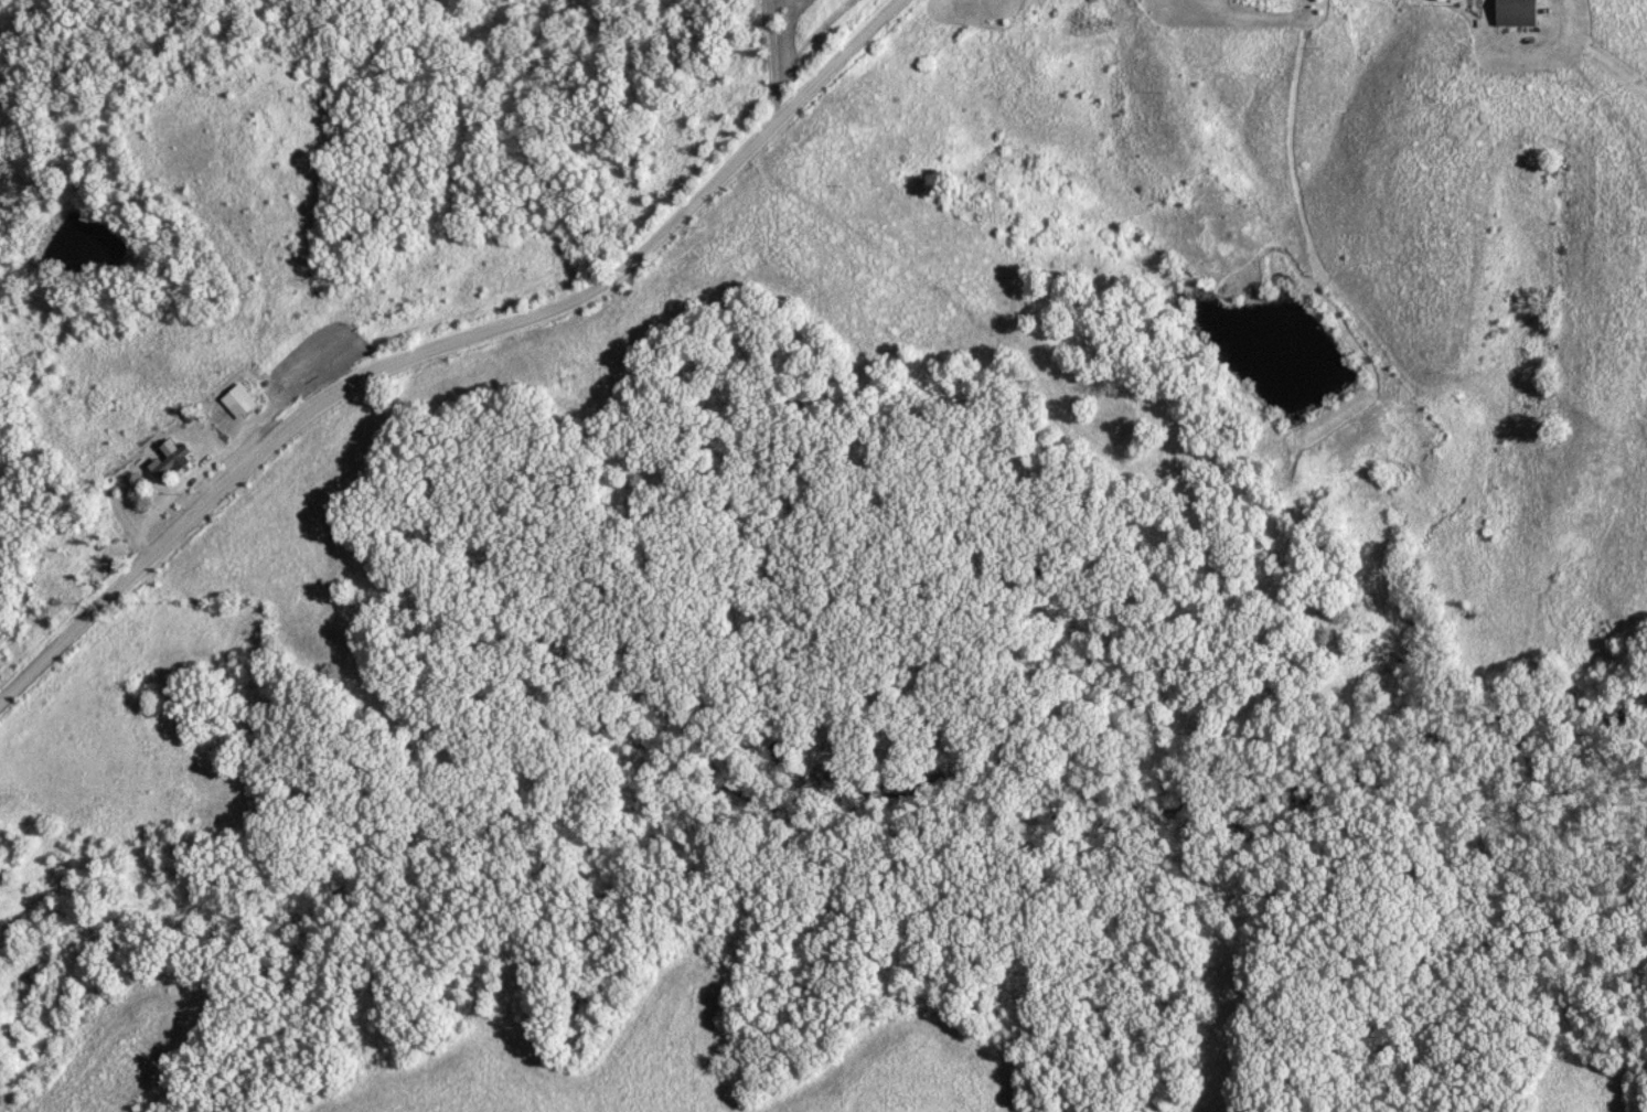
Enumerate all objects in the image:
road: (1563, 10)
building: (1514, 13)
road: (451, 334)
building: (240, 399)
building: (169, 462)

